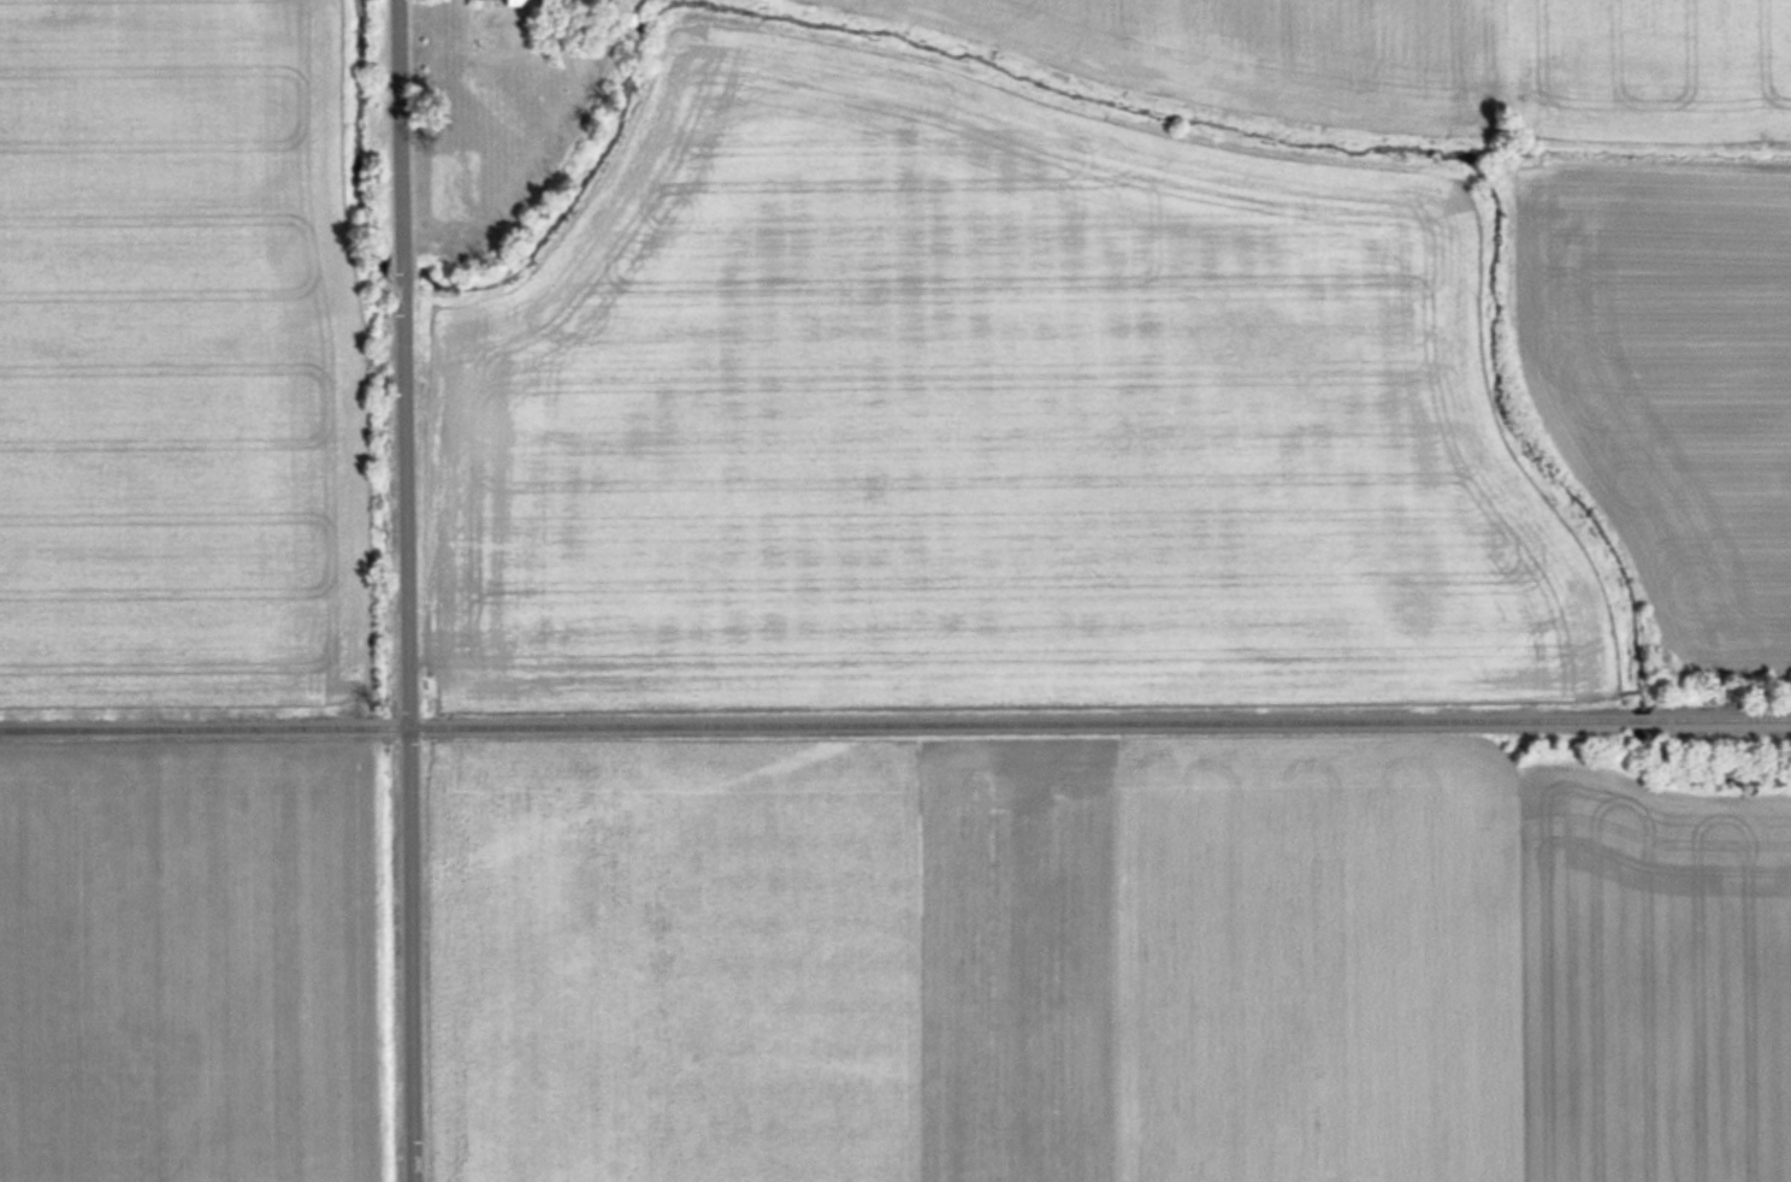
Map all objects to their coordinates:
road: (407, 590)
railway: (1719, 717)
railway: (1641, 719)
railway: (817, 723)

